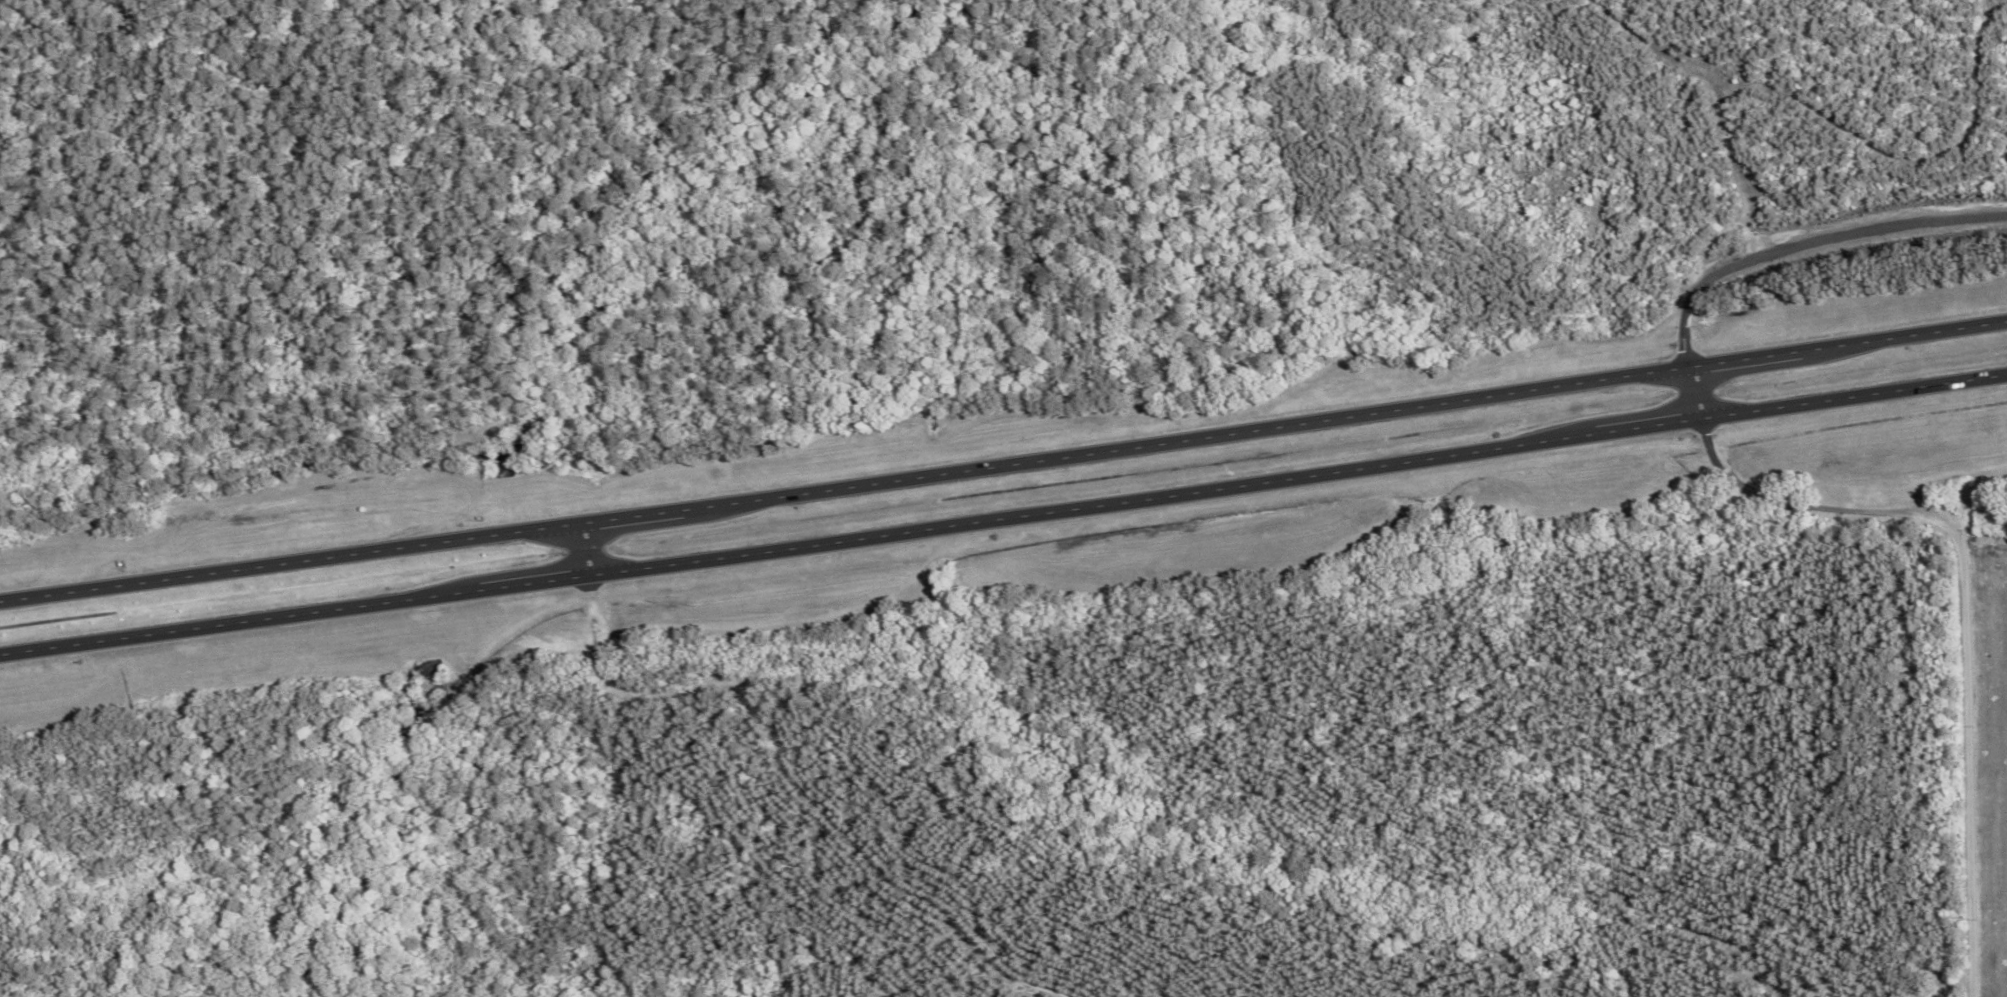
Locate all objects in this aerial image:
road: (1830, 232)
road: (1691, 369)
road: (1003, 462)
road: (1003, 516)
road: (588, 548)
road: (1963, 610)

